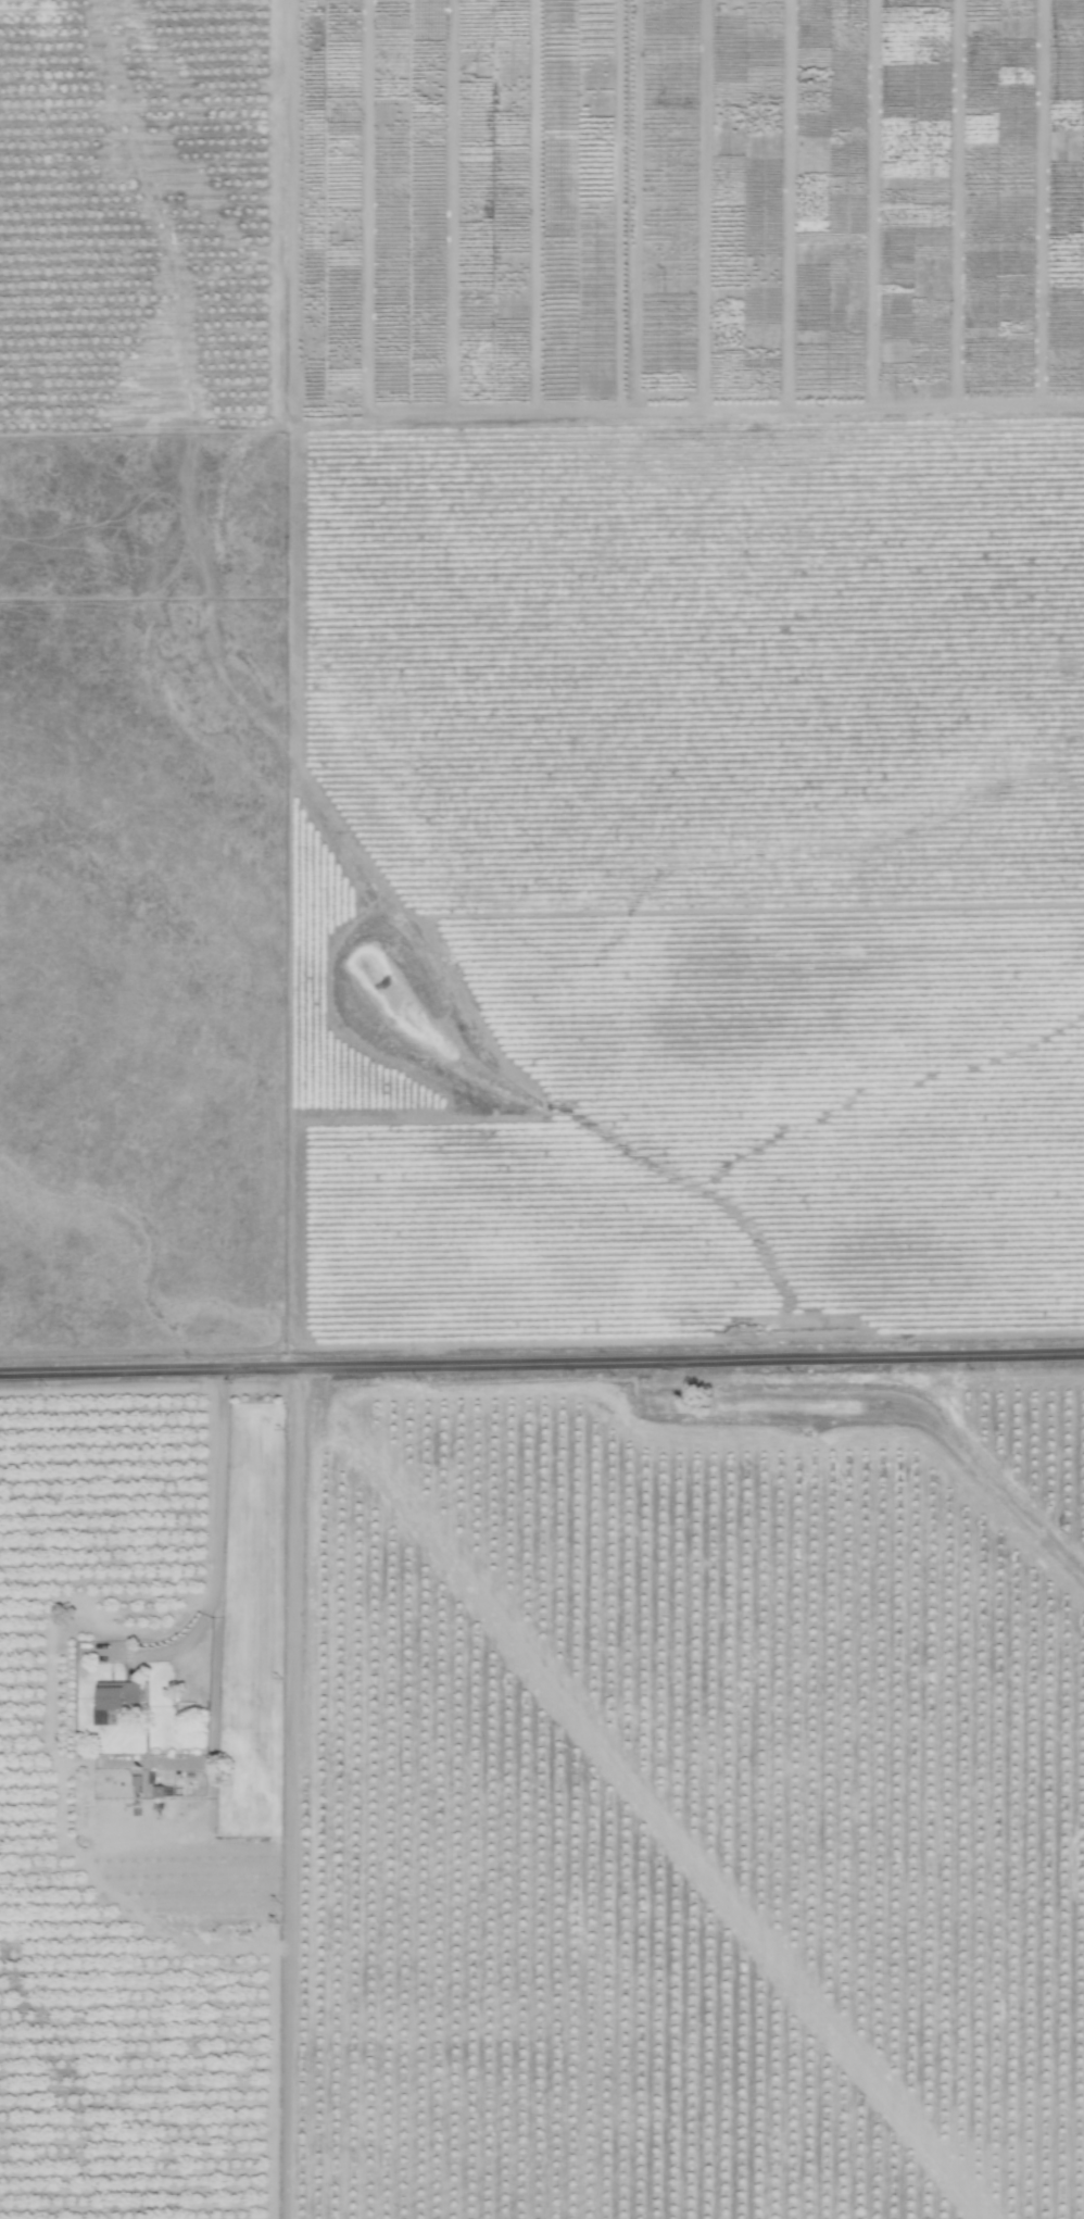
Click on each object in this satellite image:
road: (542, 1361)
road: (210, 1601)
road: (166, 1648)
building: (123, 1695)
road: (287, 1792)

